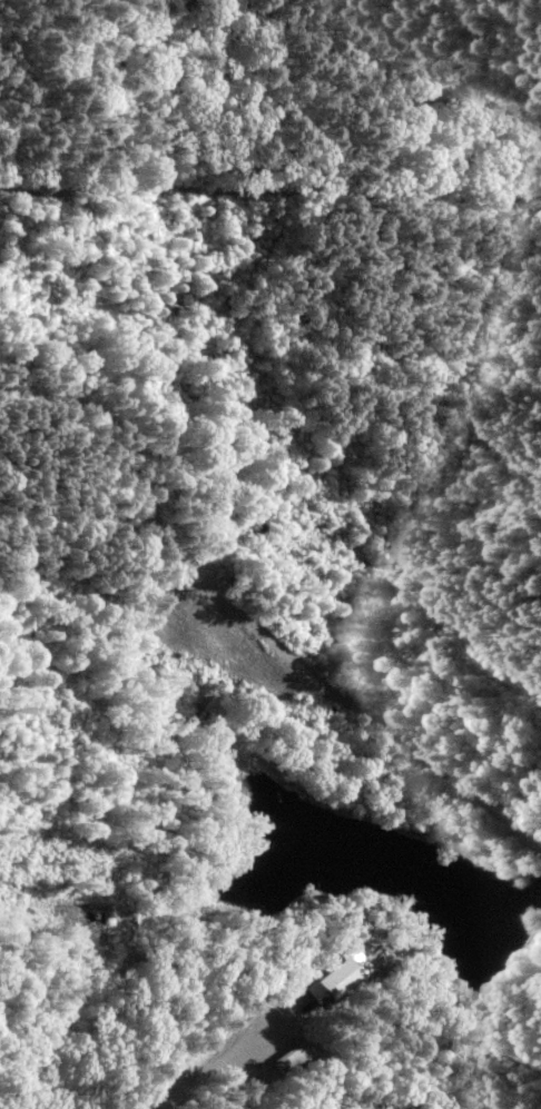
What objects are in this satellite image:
building: (335, 978)
building: (295, 1056)

